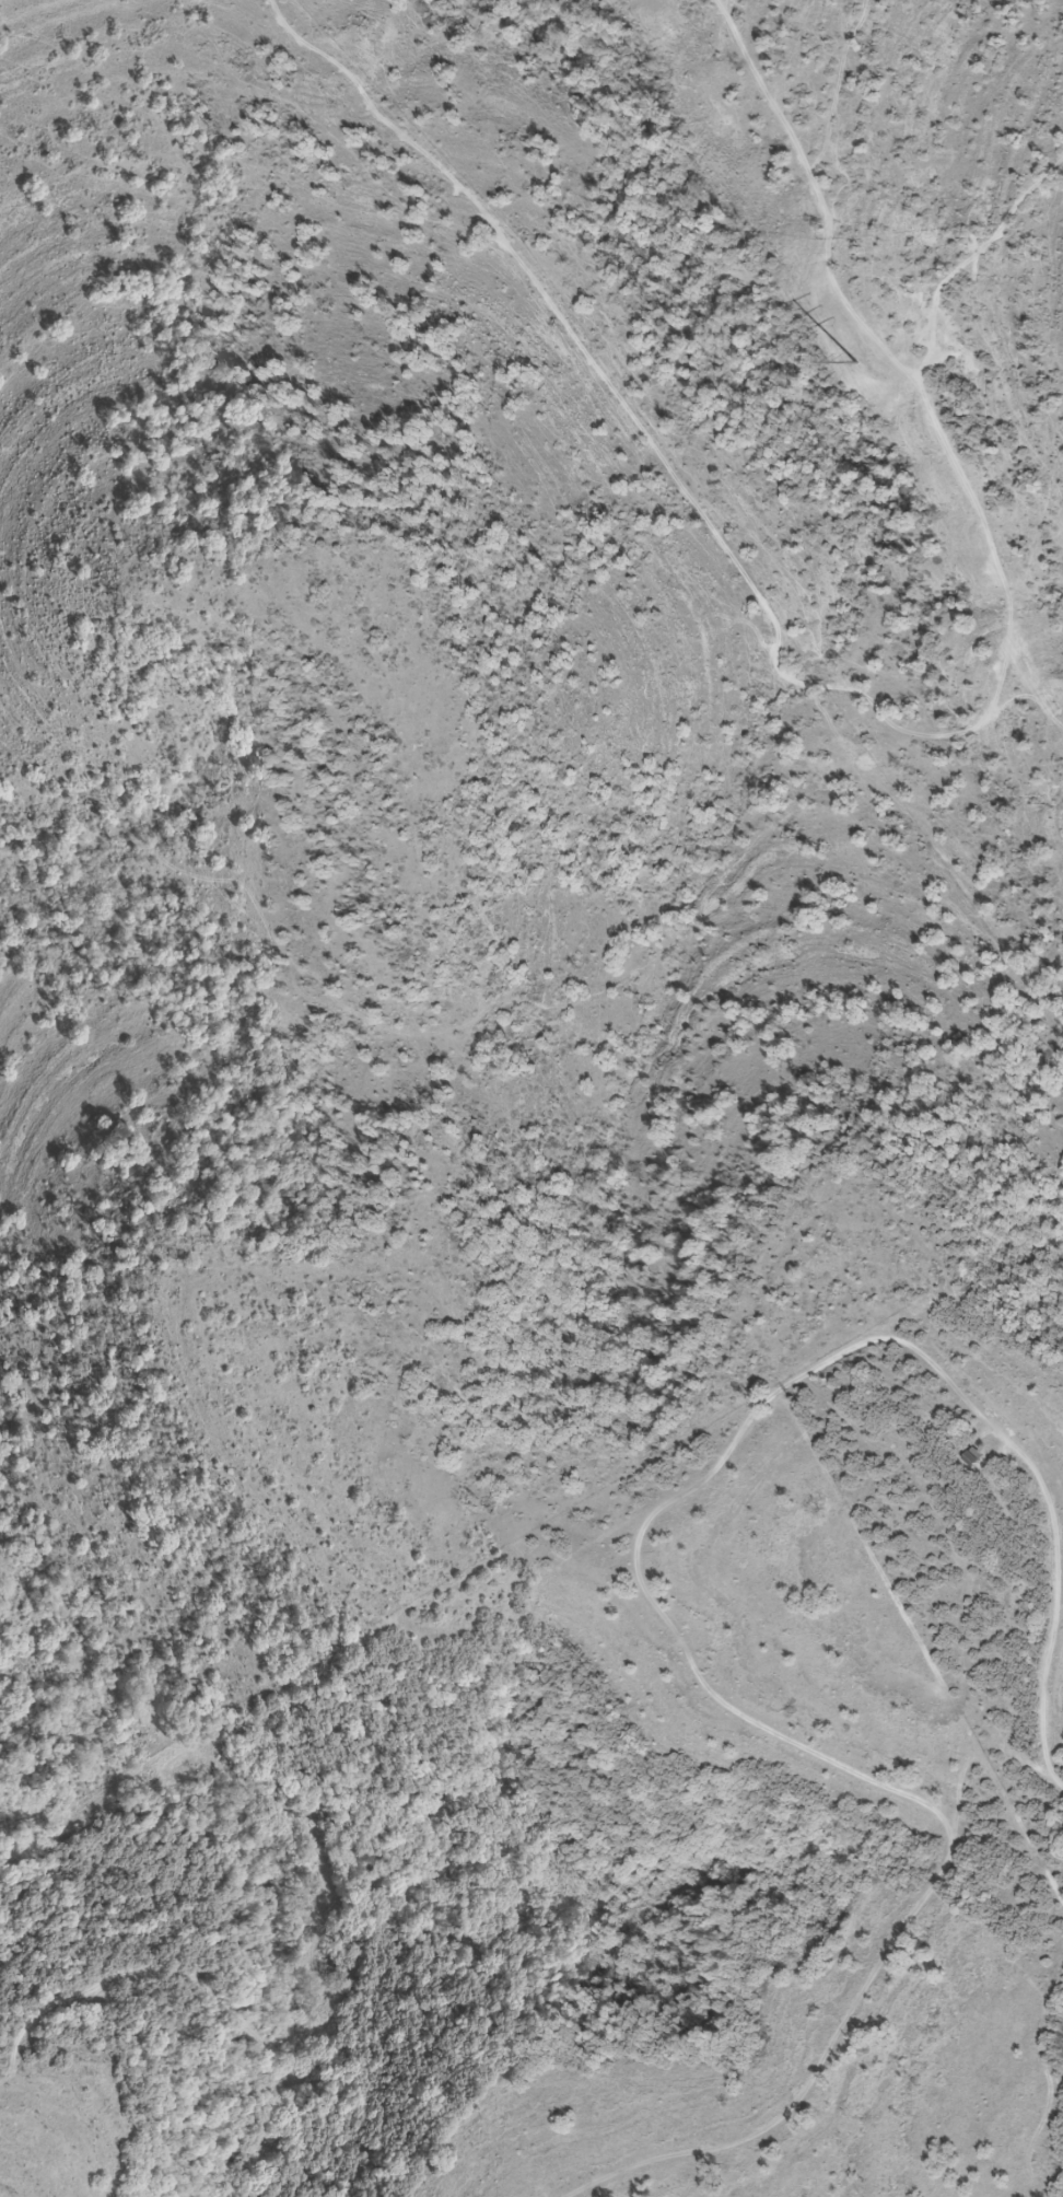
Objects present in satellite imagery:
power tower: (856, 361)
building: (972, 1456)

